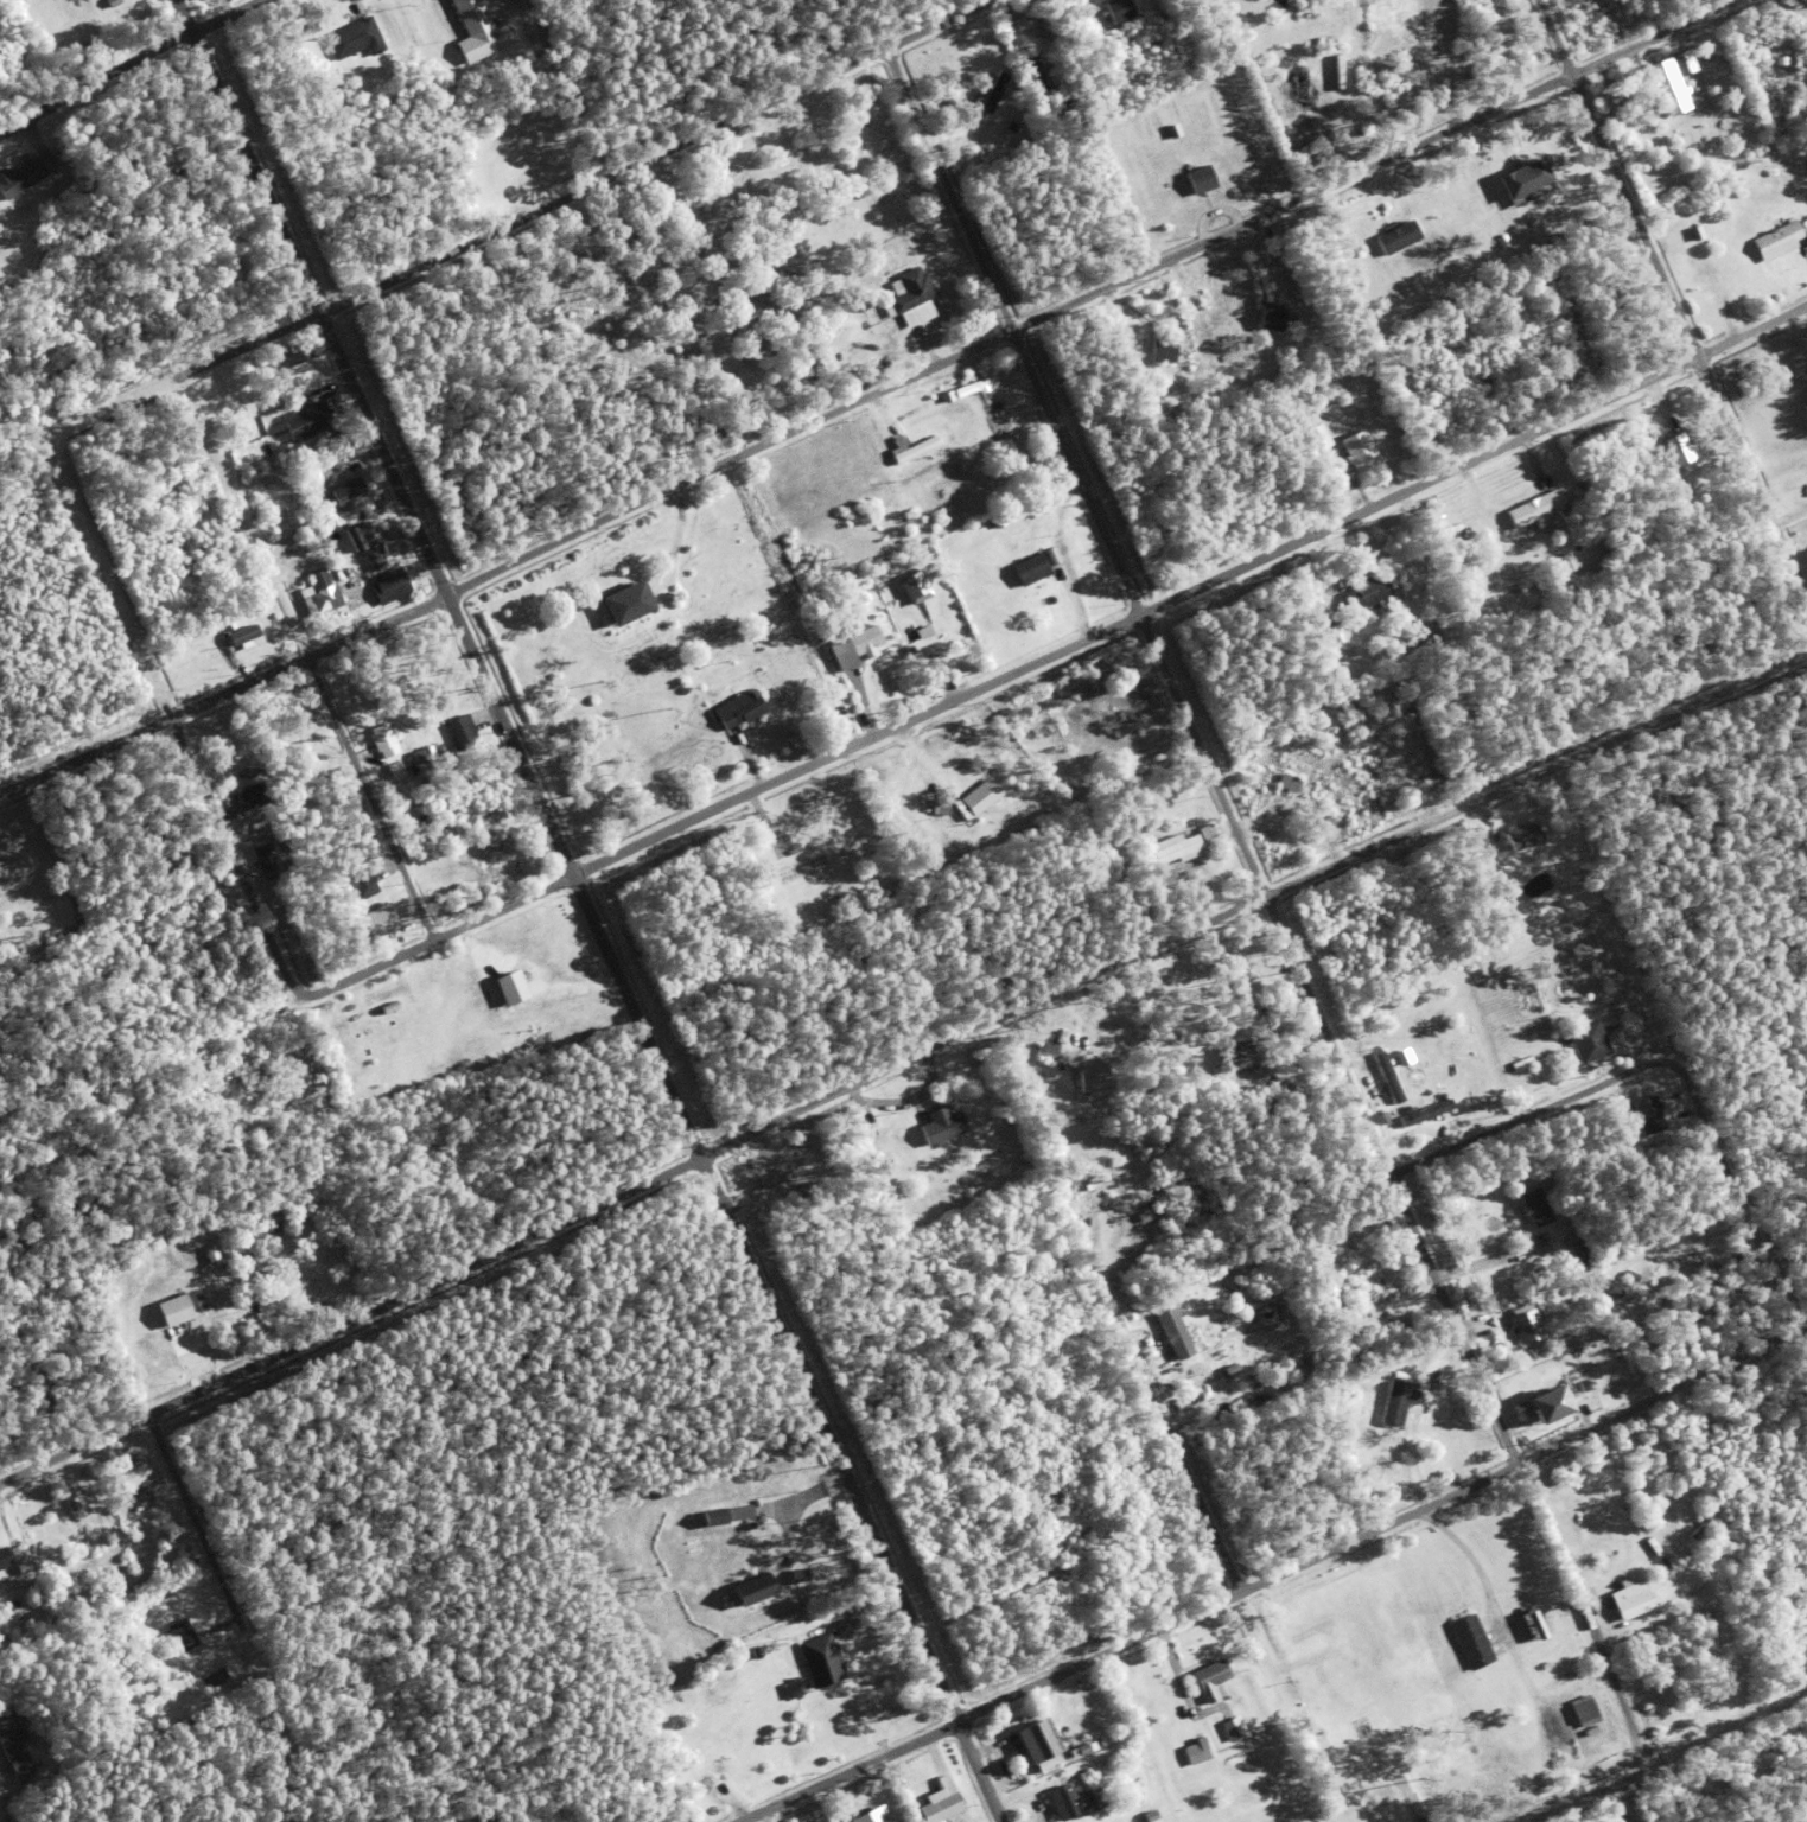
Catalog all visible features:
building: (112, 2)
building: (1118, 11)
building: (311, 27)
building: (481, 31)
building: (1033, 32)
building: (1018, 33)
building: (355, 39)
building: (1313, 40)
building: (394, 49)
road: (177, 50)
building: (318, 50)
building: (451, 56)
building: (1684, 63)
building: (1037, 74)
building: (1669, 87)
building: (988, 97)
building: (1012, 127)
building: (38, 142)
building: (30, 155)
building: (61, 157)
building: (1523, 178)
building: (1200, 179)
building: (14, 181)
building: (1532, 195)
road: (565, 200)
building: (1697, 234)
building: (1398, 237)
building: (1779, 241)
building: (212, 267)
building: (911, 291)
building: (1183, 293)
road: (1674, 304)
building: (1271, 318)
building: (1183, 324)
building: (1137, 331)
building: (1124, 342)
building: (1163, 350)
building: (287, 358)
building: (823, 358)
building: (1452, 363)
building: (322, 374)
building: (971, 389)
building: (947, 396)
road: (871, 397)
building: (1287, 397)
building: (1173, 409)
building: (272, 416)
building: (306, 422)
building: (969, 422)
building: (998, 426)
building: (342, 427)
building: (267, 432)
building: (1315, 433)
building: (272, 448)
building: (915, 451)
building: (1359, 451)
building: (1676, 451)
building: (966, 465)
building: (365, 486)
building: (1574, 490)
building: (345, 492)
building: (1578, 507)
building: (1534, 509)
building: (1036, 511)
building: (1012, 512)
building: (368, 514)
building: (998, 521)
building: (1041, 528)
building: (1446, 534)
building: (364, 543)
building: (1000, 546)
building: (924, 554)
building: (1030, 571)
building: (361, 573)
building: (390, 586)
building: (914, 586)
building: (946, 590)
building: (1367, 595)
building: (322, 601)
building: (838, 603)
building: (625, 604)
building: (820, 606)
building: (1330, 607)
building: (916, 614)
building: (336, 616)
building: (238, 632)
building: (910, 632)
road: (297, 633)
building: (1334, 633)
building: (1338, 643)
building: (1388, 643)
building: (1427, 644)
building: (855, 649)
building: (909, 652)
building: (217, 657)
building: (203, 662)
road: (1031, 669)
building: (183, 680)
building: (846, 683)
building: (740, 709)
building: (317, 728)
building: (1350, 728)
building: (775, 730)
building: (462, 734)
building: (383, 741)
building: (424, 754)
building: (446, 757)
building: (313, 760)
building: (1291, 773)
building: (300, 775)
building: (376, 776)
building: (1323, 783)
building: (1287, 784)
building: (274, 789)
building: (253, 797)
building: (978, 801)
building: (1296, 805)
building: (940, 809)
building: (1328, 822)
building: (260, 830)
building: (1207, 834)
building: (279, 839)
building: (1522, 839)
building: (793, 851)
road: (196, 852)
building: (1177, 852)
building: (1222, 855)
building: (804, 856)
building: (267, 862)
building: (21, 869)
building: (13, 877)
building: (284, 879)
building: (362, 886)
road: (1266, 903)
road: (587, 910)
building: (376, 920)
building: (791, 925)
building: (394, 929)
building: (364, 945)
building: (509, 988)
building: (1589, 1044)
building: (1046, 1052)
building: (1122, 1055)
building: (1234, 1058)
building: (1522, 1066)
road: (899, 1072)
building: (1092, 1077)
building: (1388, 1079)
road: (1598, 1089)
building: (1644, 1097)
building: (1669, 1098)
building: (1424, 1115)
building: (906, 1119)
building: (1382, 1120)
building: (1652, 1122)
building: (941, 1128)
building: (1457, 1132)
building: (896, 1140)
building: (887, 1167)
building: (1086, 1184)
building: (800, 1192)
road: (1736, 1197)
building: (776, 1202)
building: (1533, 1211)
building: (1145, 1217)
building: (275, 1229)
building: (209, 1253)
building: (252, 1256)
building: (1361, 1267)
building: (1326, 1268)
building: (1405, 1270)
building: (1592, 1283)
building: (198, 1302)
building: (140, 1305)
building: (172, 1310)
building: (141, 1323)
building: (190, 1324)
building: (1522, 1331)
building: (165, 1336)
building: (1175, 1336)
building: (1533, 1368)
building: (1408, 1375)
building: (1547, 1376)
building: (1203, 1388)
building: (1583, 1388)
building: (1547, 1403)
building: (1203, 1407)
building: (1395, 1407)
building: (1228, 1410)
building: (1198, 1433)
road: (1159, 1445)
building: (132, 1474)
building: (1046, 1486)
building: (74, 1506)
building: (136, 1508)
building: (737, 1511)
building: (1070, 1512)
building: (712, 1516)
building: (101, 1524)
building: (1090, 1528)
building: (89, 1531)
building: (15, 1554)
building: (4, 1561)
building: (24, 1571)
building: (798, 1572)
building: (753, 1585)
building: (32, 1588)
road: (1240, 1597)
building: (1630, 1597)
building: (1662, 1601)
road: (299, 1608)
building: (846, 1619)
building: (182, 1638)
building: (1472, 1642)
building: (1313, 1649)
building: (757, 1650)
building: (821, 1658)
building: (1485, 1673)
building: (1576, 1673)
building: (1211, 1677)
building: (1500, 1683)
building: (1726, 1683)
building: (1688, 1684)
building: (793, 1687)
building: (1694, 1702)
building: (1606, 1706)
building: (1214, 1708)
building: (1585, 1708)
building: (4, 1715)
building: (1068, 1724)
building: (1233, 1726)
building: (63, 1729)
building: (1036, 1737)
building: (1197, 1748)
building: (1067, 1754)
building: (0, 1757)
building: (17, 1759)
building: (728, 1784)
building: (1134, 1784)
building: (1385, 1788)
building: (721, 1792)
road: (1585, 1792)
building: (1073, 1801)
building: (1102, 1804)
building: (1417, 1804)
building: (941, 1805)
building: (1043, 1815)
building: (1150, 1815)
building: (878, 1817)

